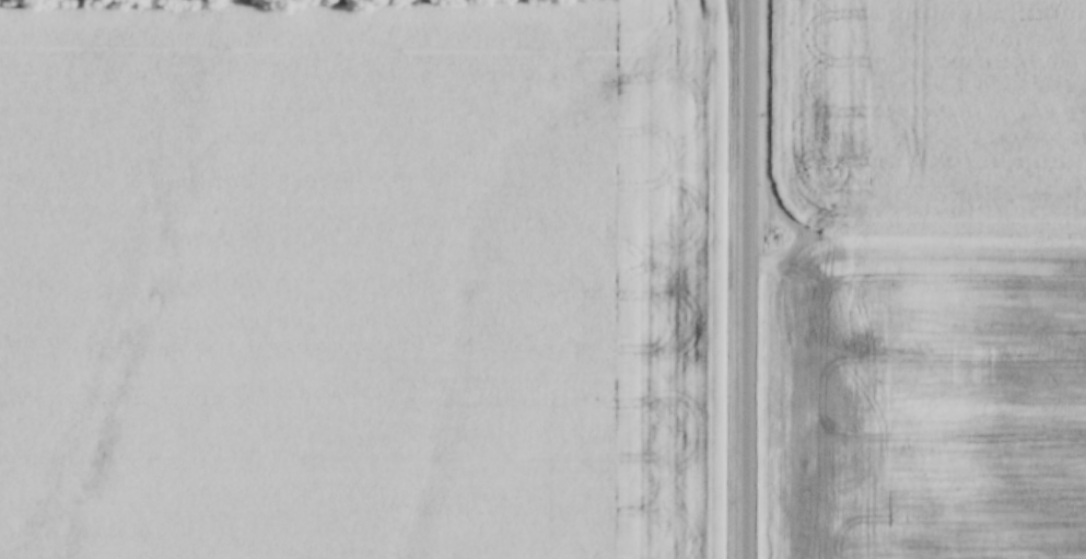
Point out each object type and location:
road: (747, 279)

